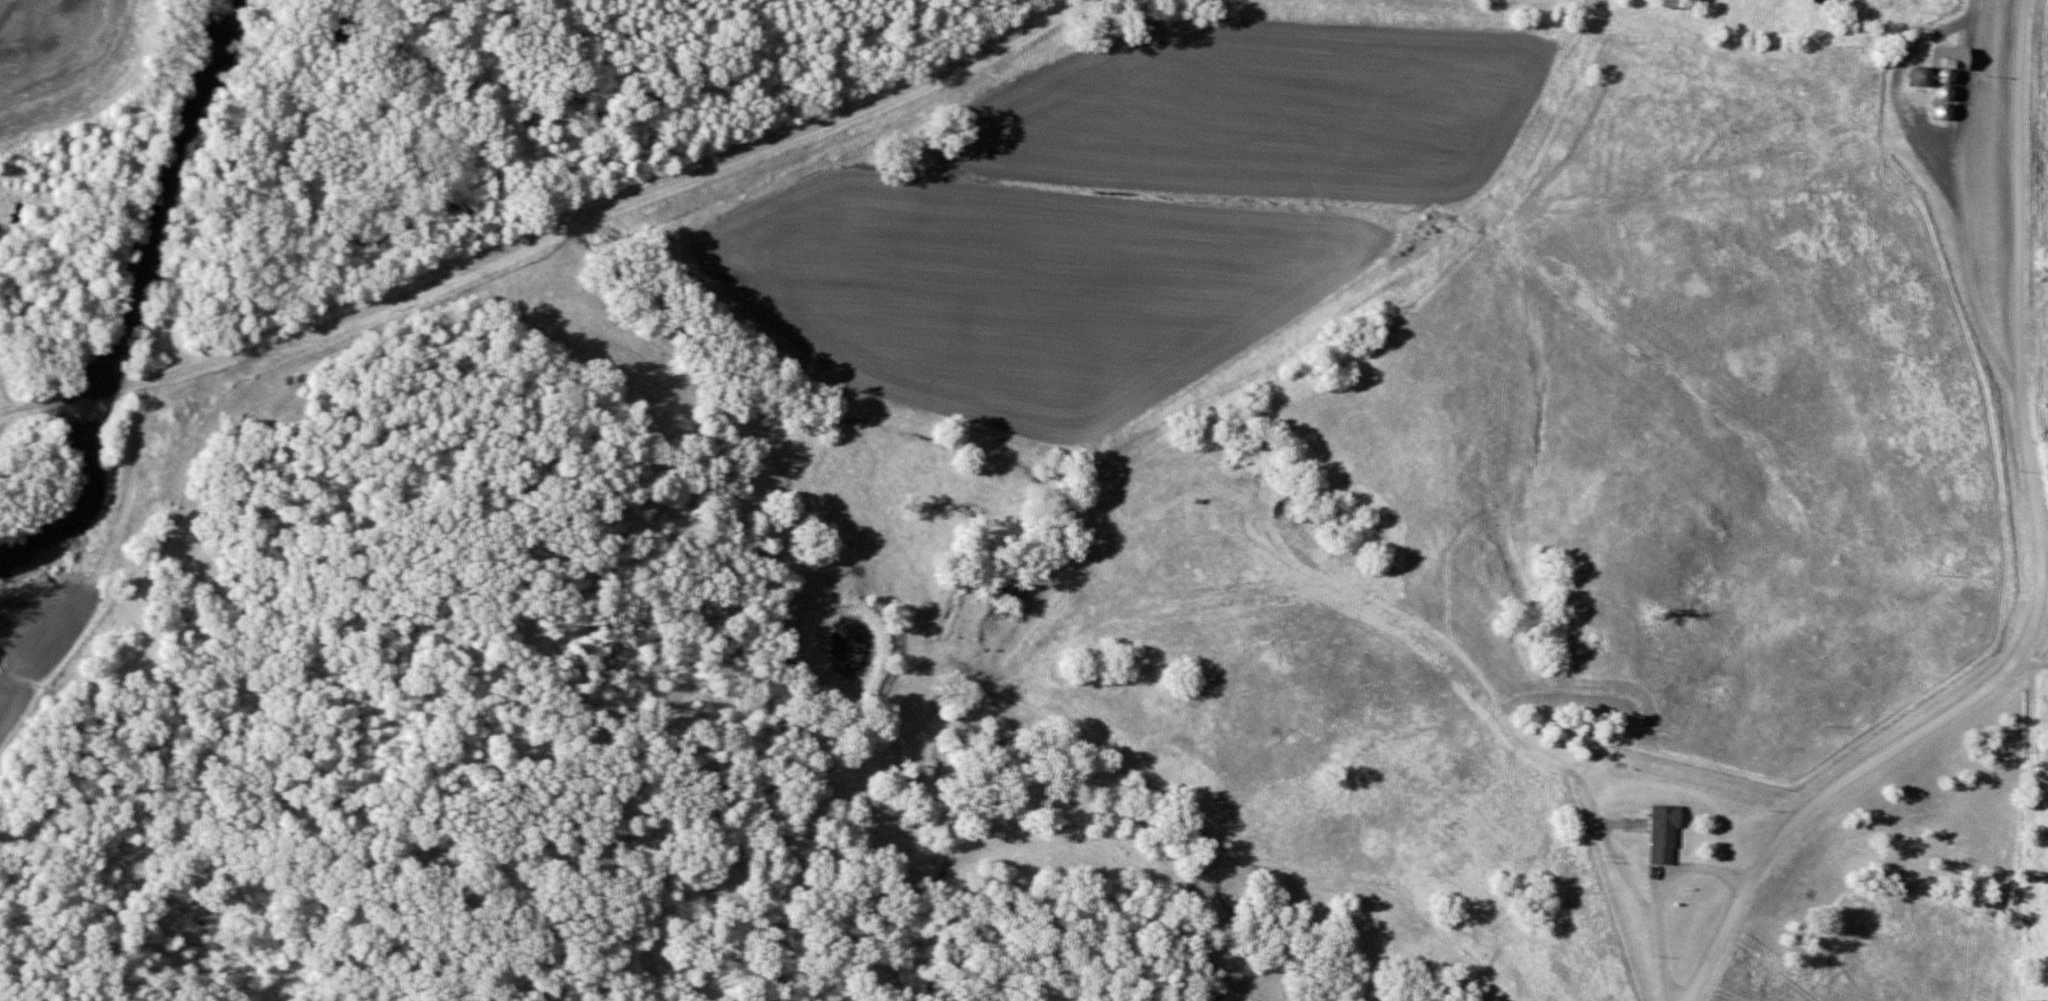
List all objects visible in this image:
building: (1946, 64)
road: (1955, 199)
river: (127, 303)
road: (2040, 575)
building: (1664, 835)
road: (1658, 894)

